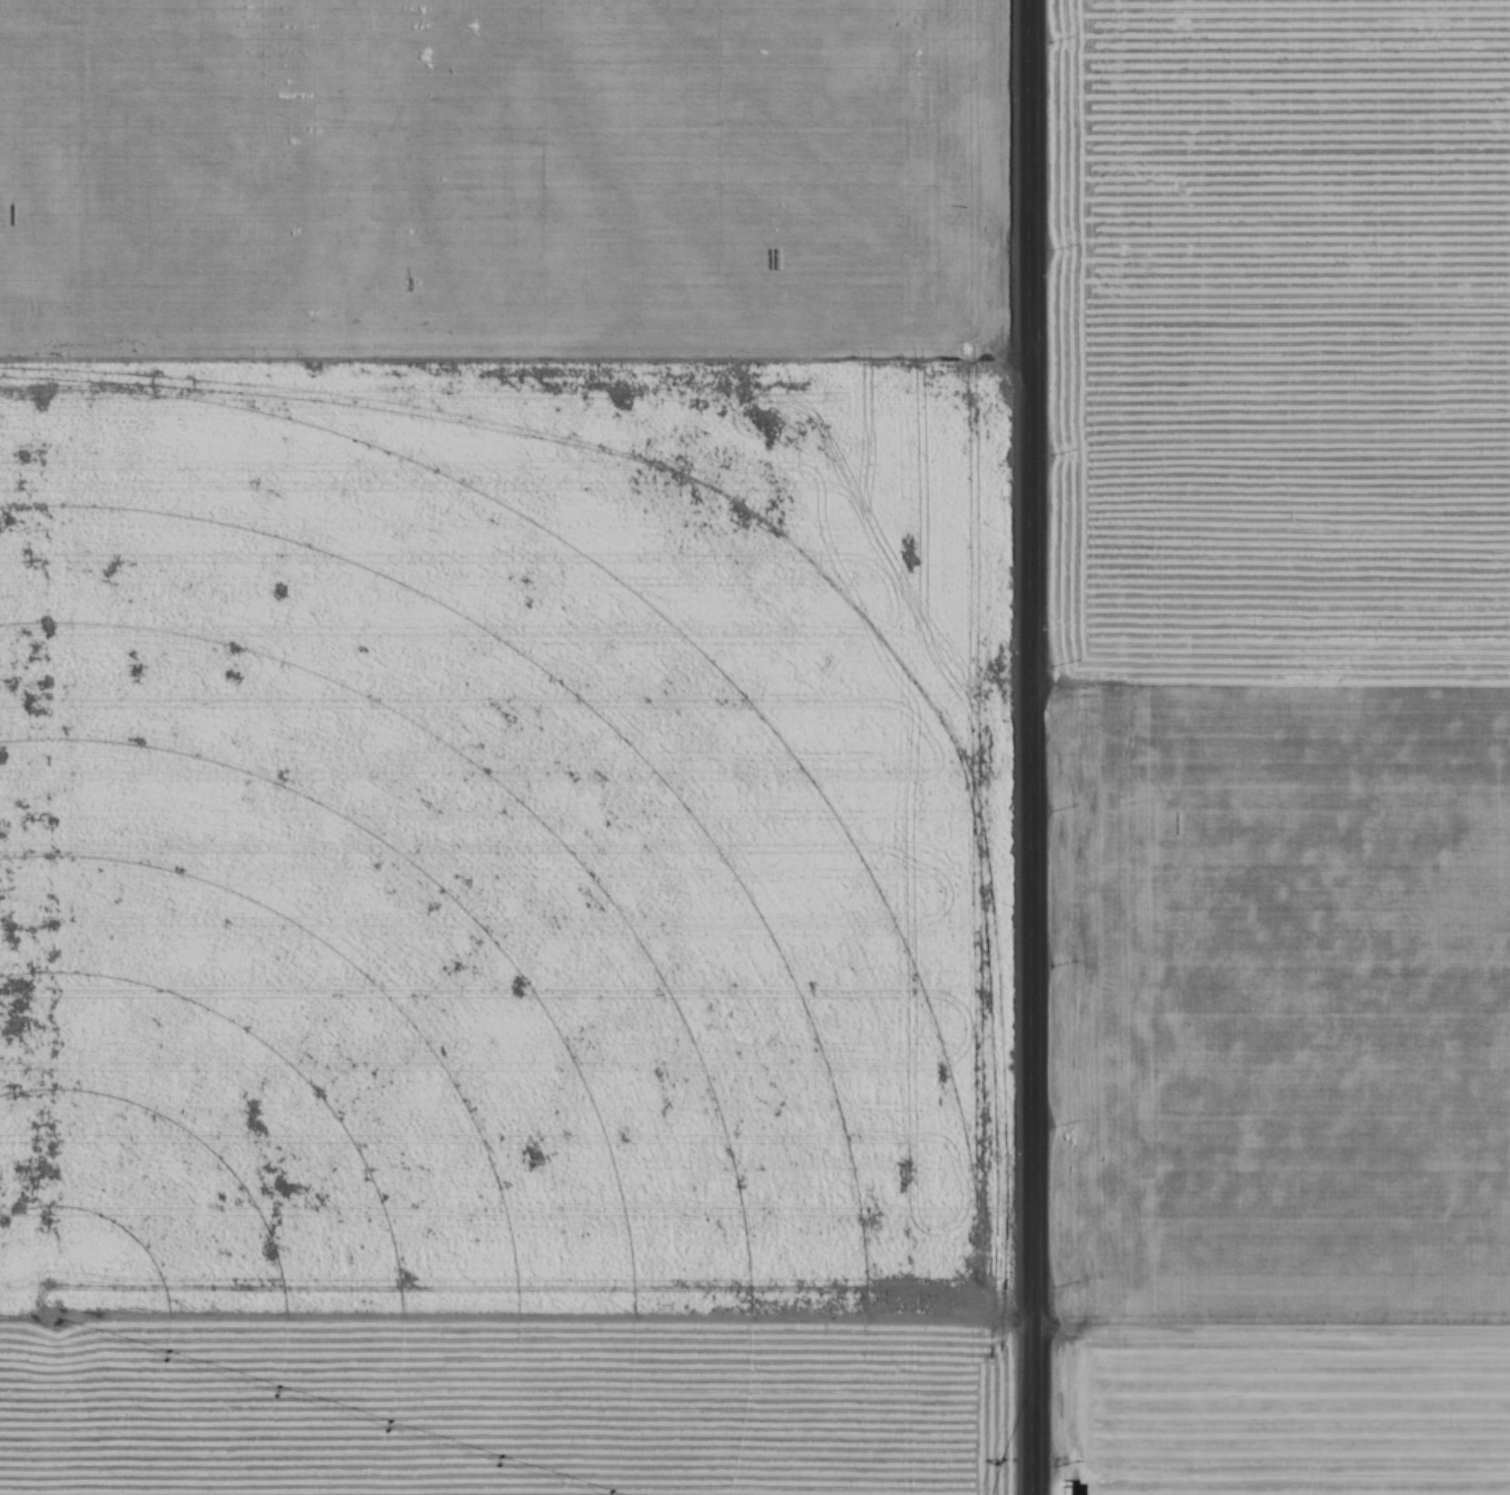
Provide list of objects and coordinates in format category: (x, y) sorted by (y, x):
road: (1027, 747)

